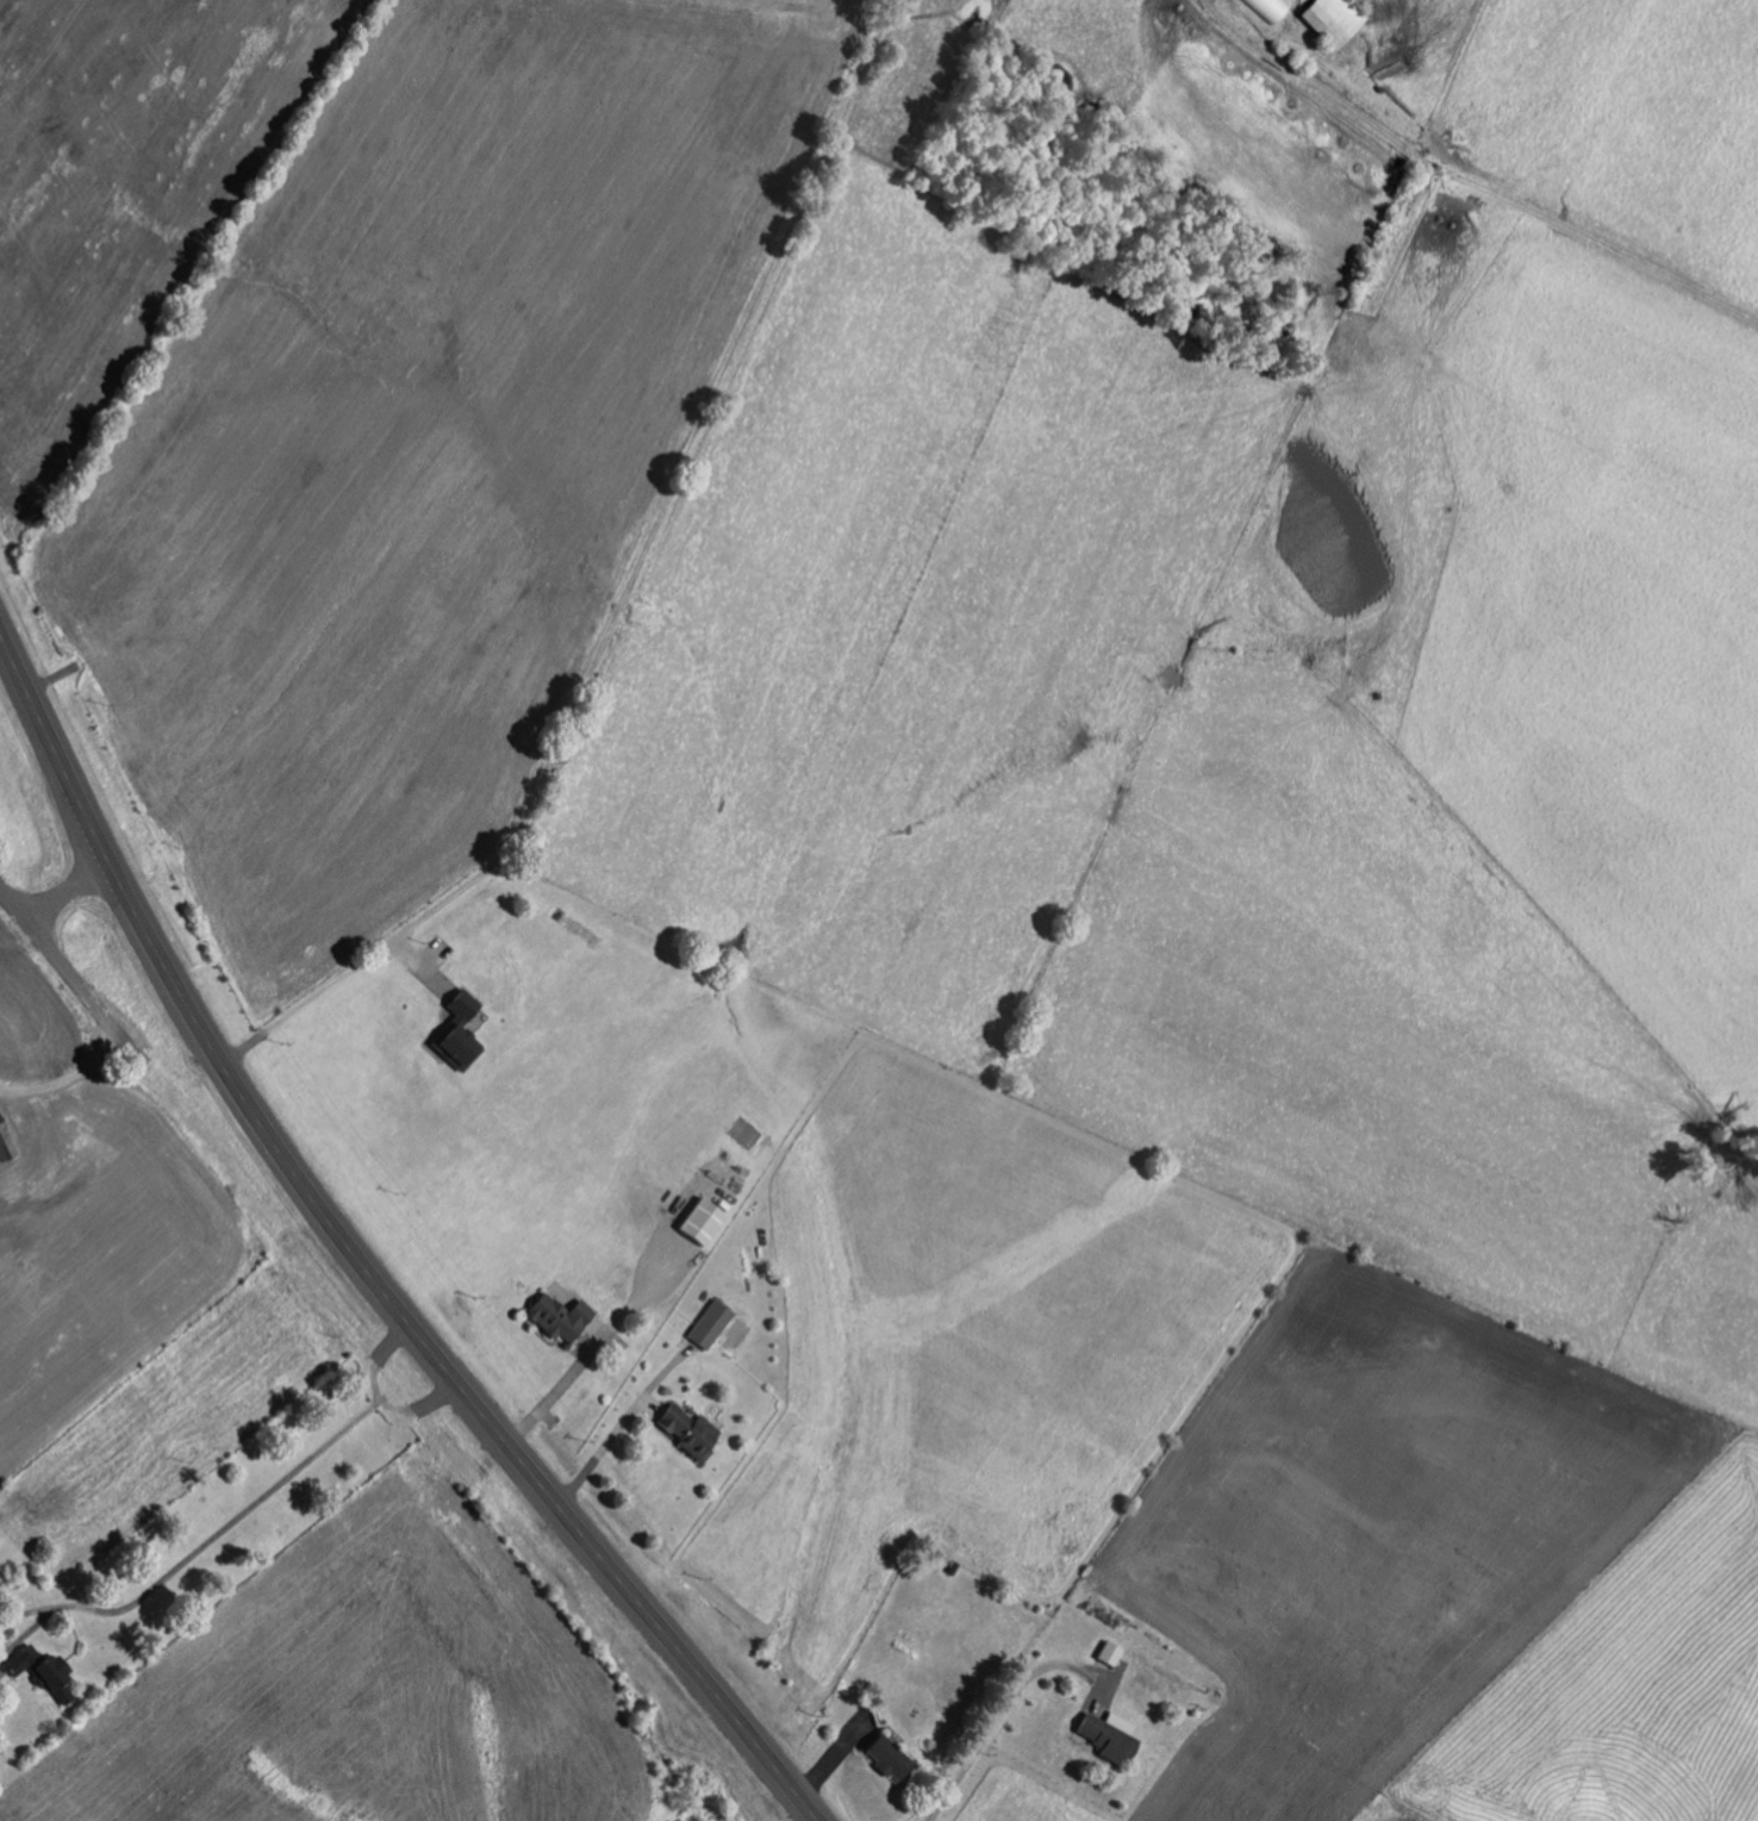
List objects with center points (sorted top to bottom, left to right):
building: (1265, 7)
building: (1329, 19)
road: (68, 892)
road: (68, 974)
building: (457, 1031)
building: (4, 1147)
building: (699, 1222)
road: (359, 1258)
building: (555, 1316)
building: (707, 1324)
building: (684, 1430)
building: (1108, 1653)
building: (35, 1666)
building: (1108, 1736)
building: (889, 1759)

